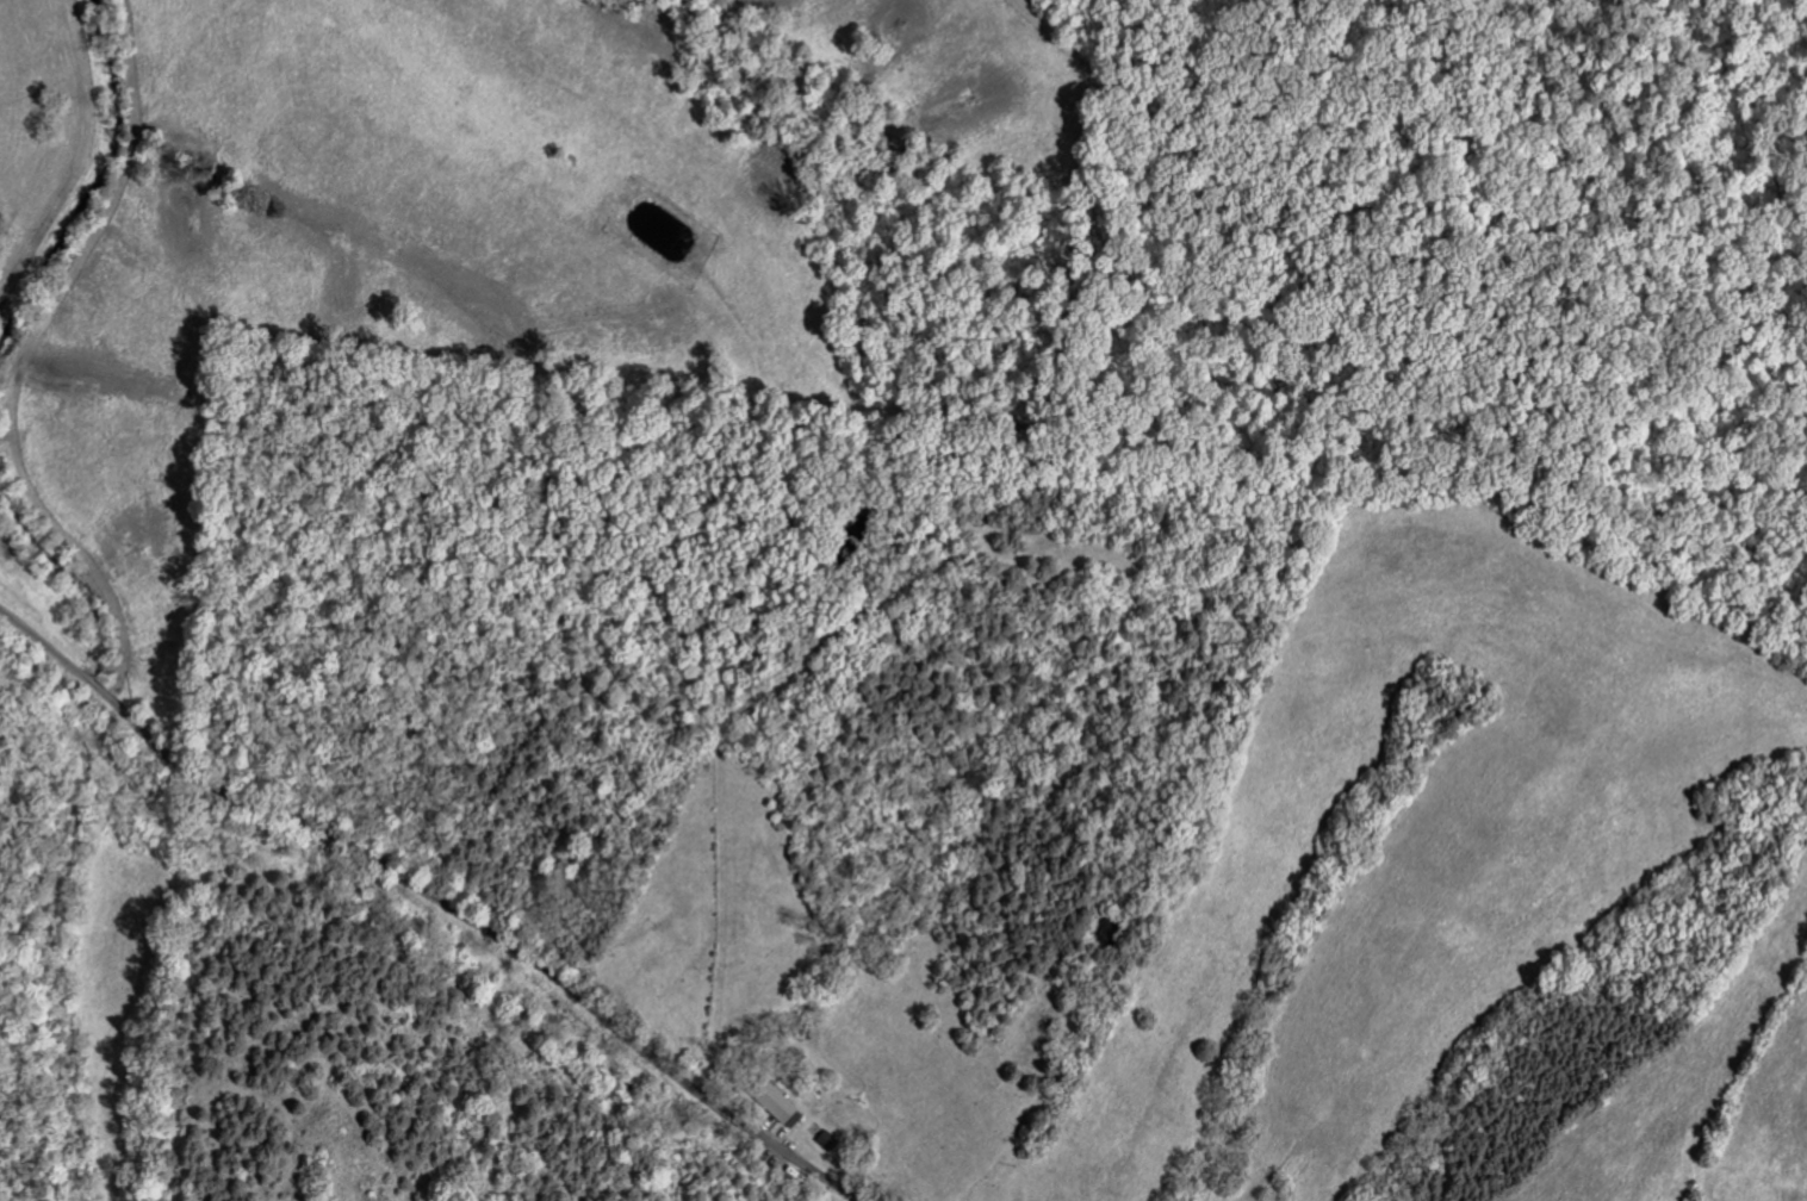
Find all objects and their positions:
road: (433, 897)
building: (787, 1109)

